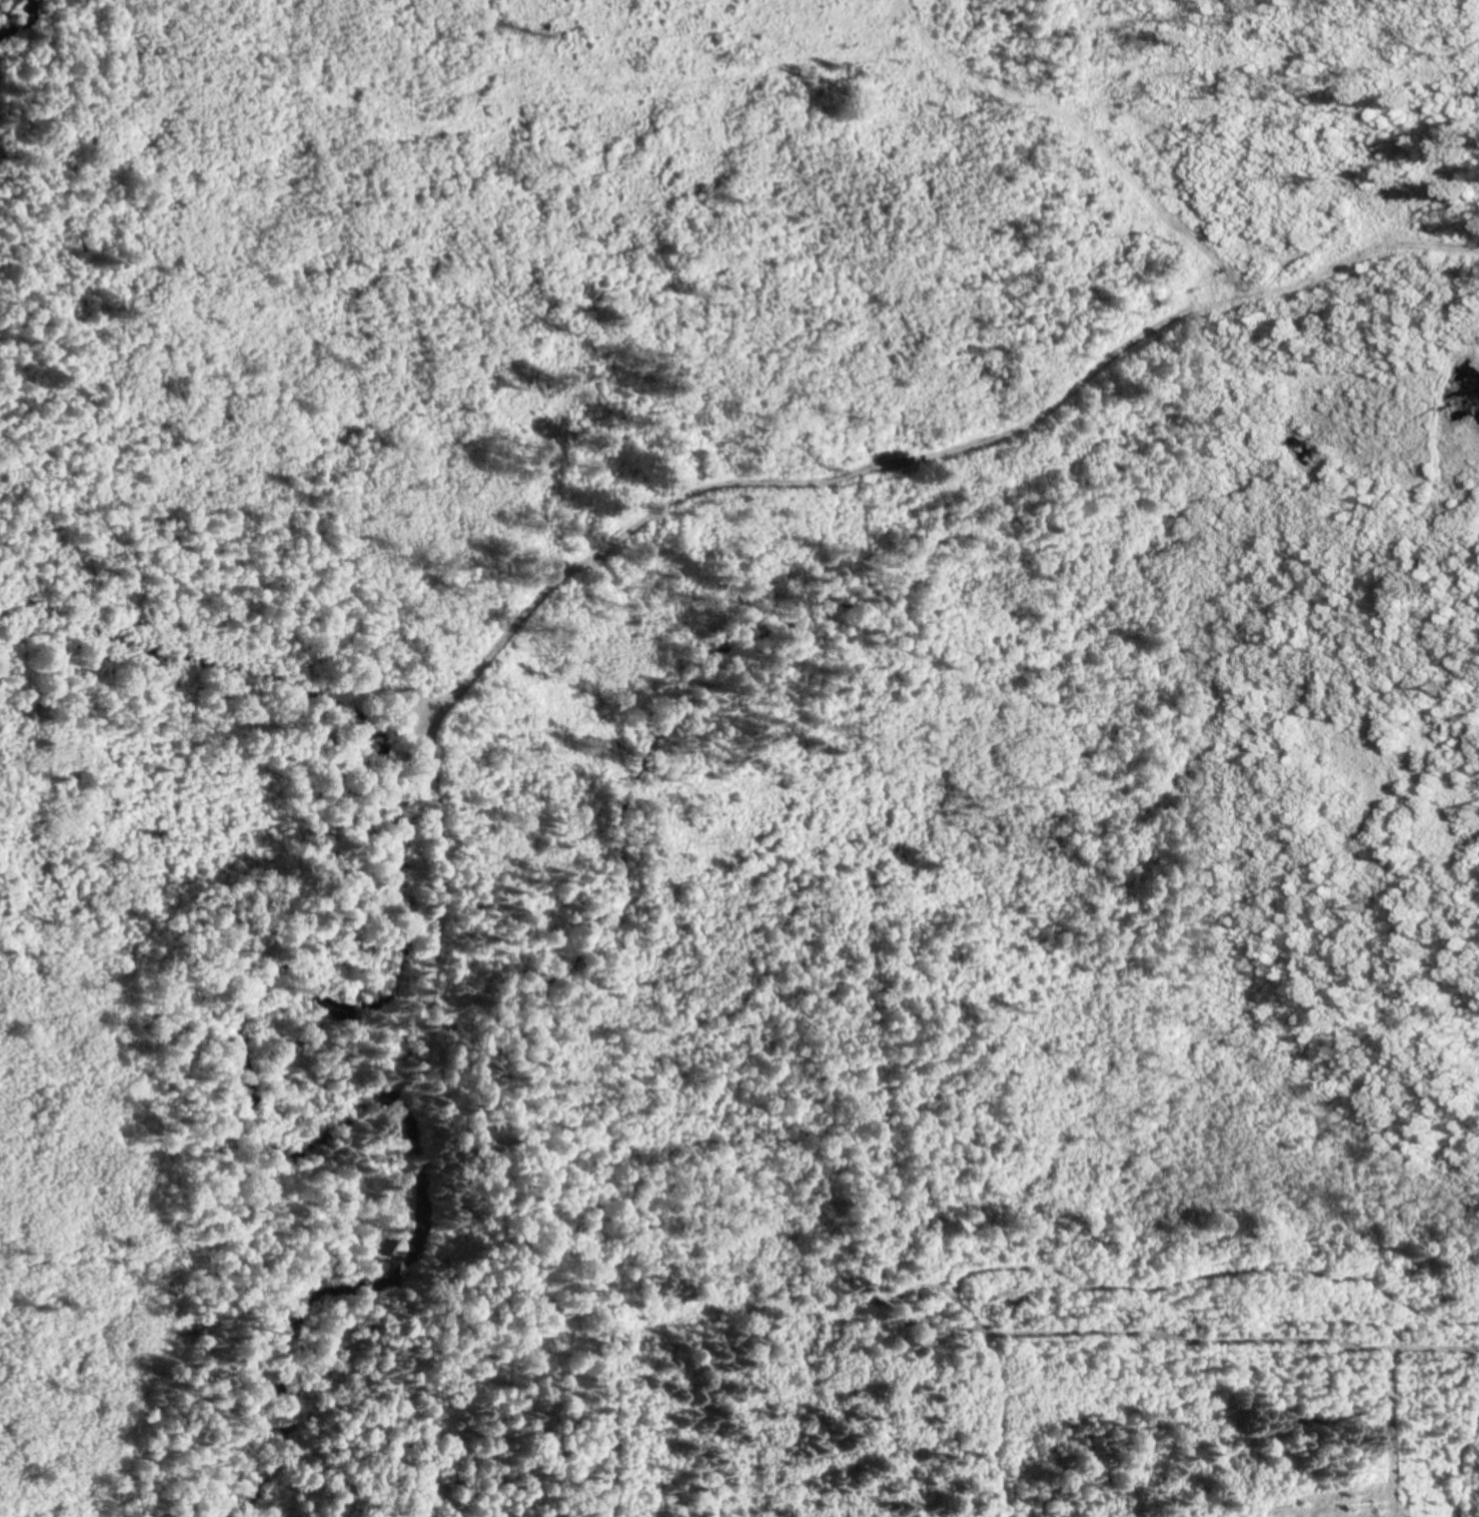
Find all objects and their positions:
road: (1376, 185)

